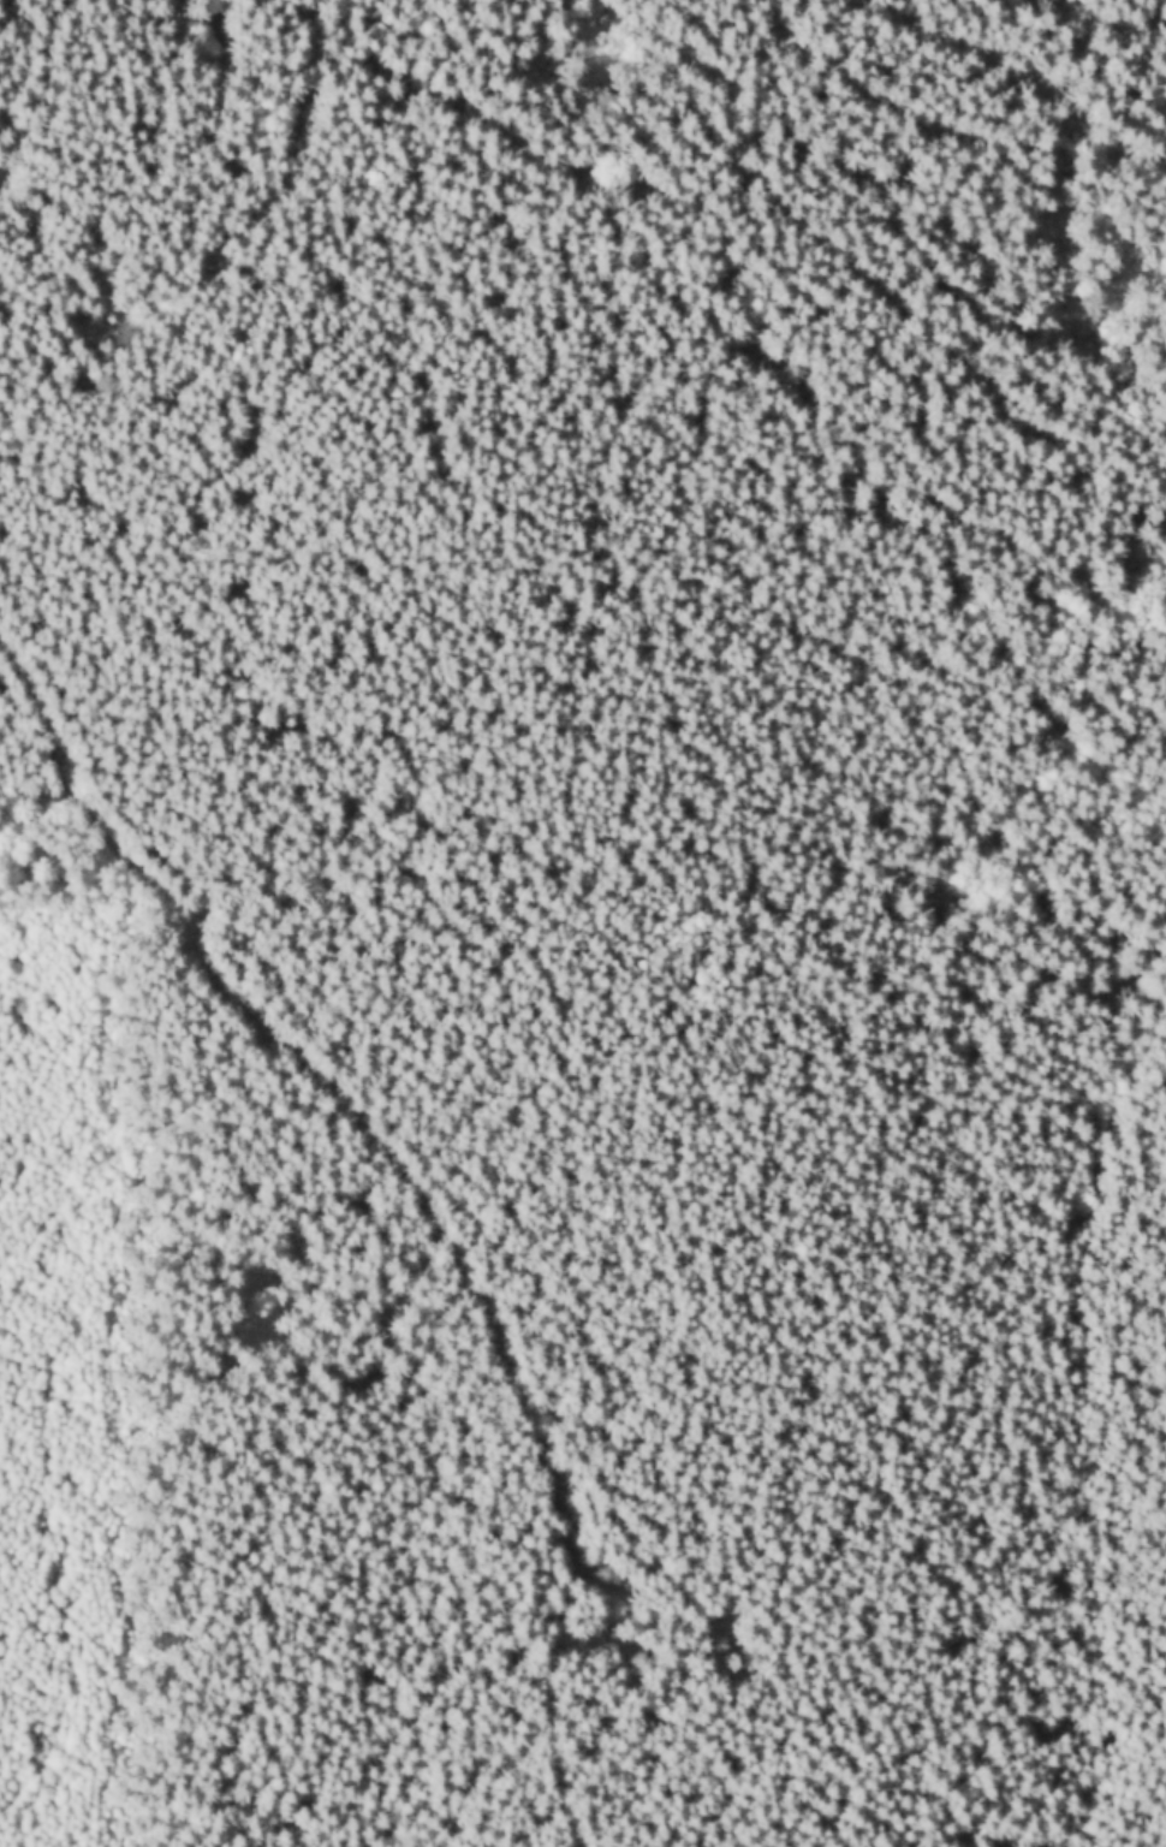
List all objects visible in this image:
road: (881, 272)

